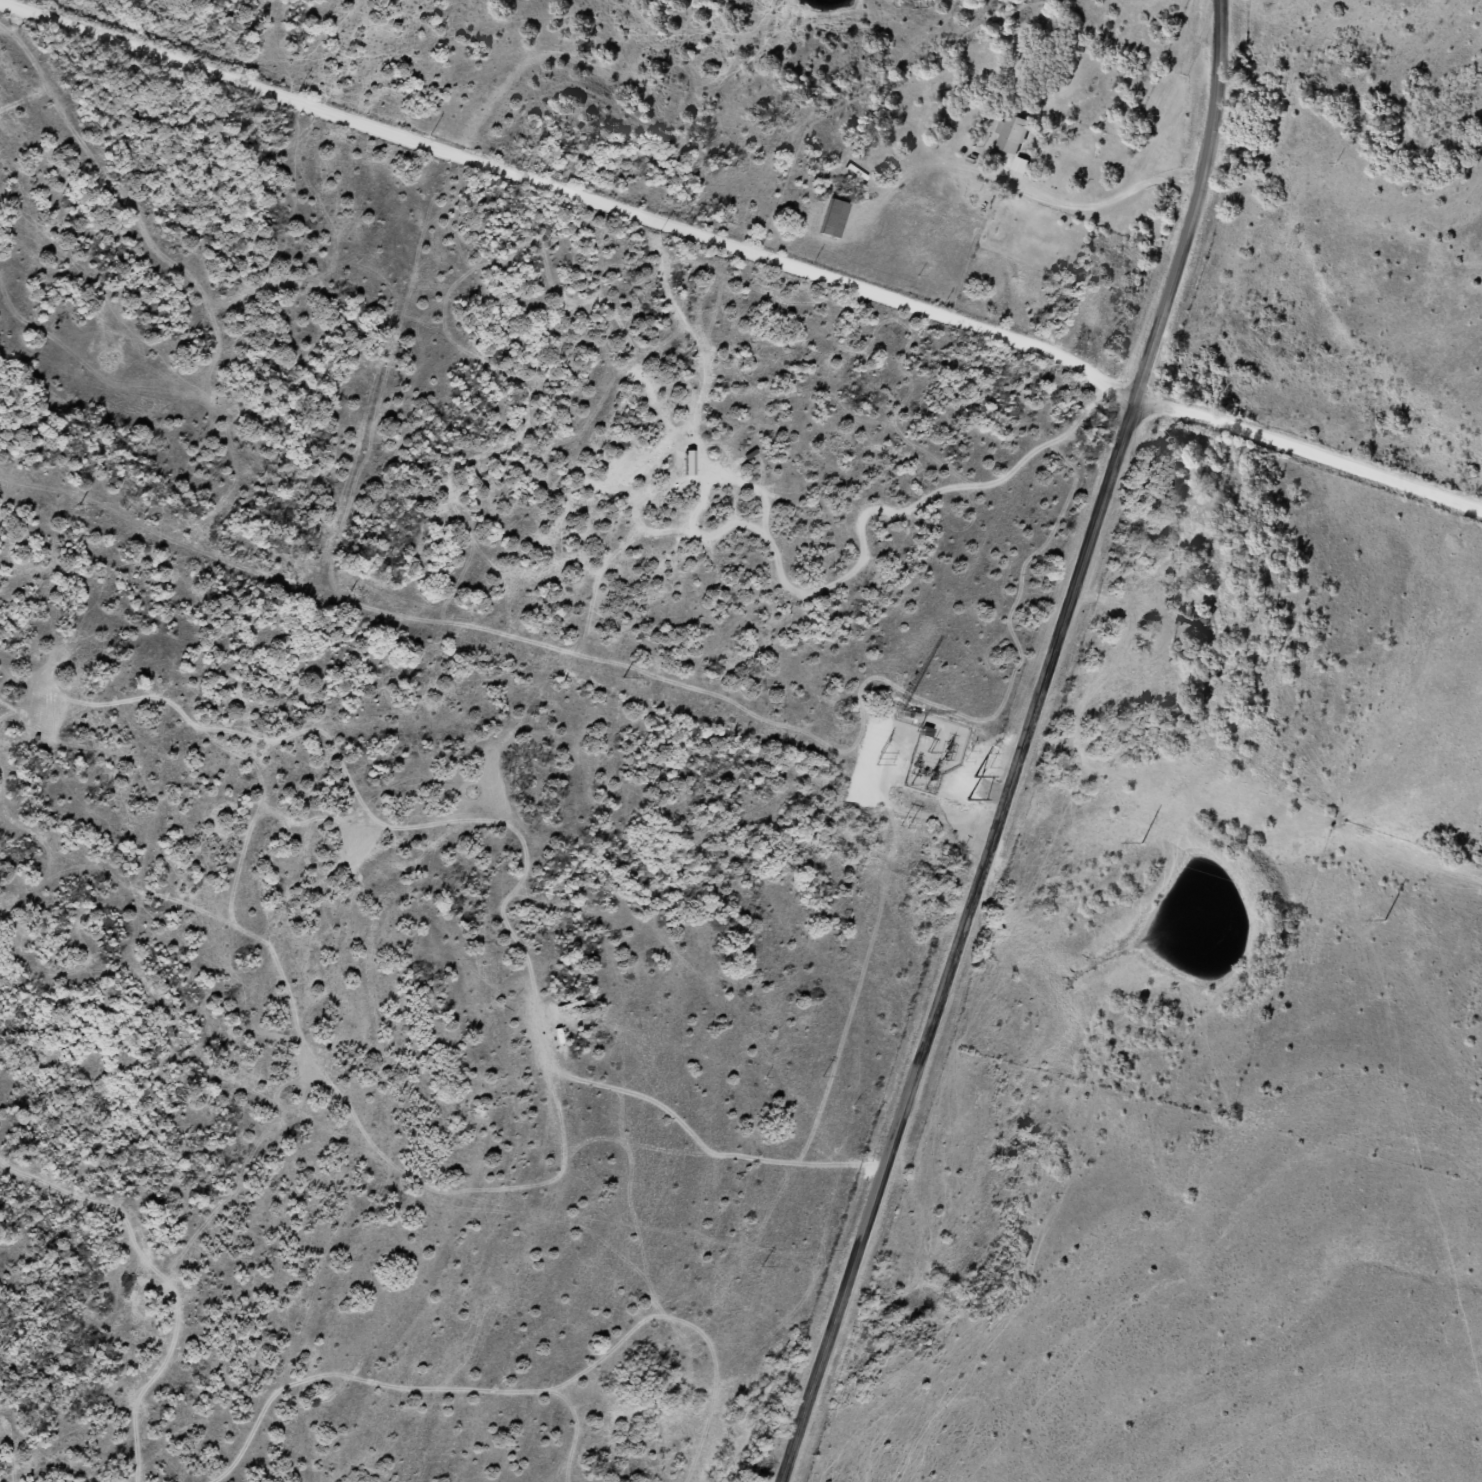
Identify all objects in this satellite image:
building: (1014, 138)
building: (833, 219)
road: (739, 264)
building: (1171, 481)
power tower: (79, 505)
power tower: (350, 592)
building: (1189, 616)
power tower: (623, 678)
building: (926, 733)
road: (1022, 745)
power substation: (934, 752)
power tower: (876, 759)
power tower: (1143, 842)
power tower: (1386, 920)

